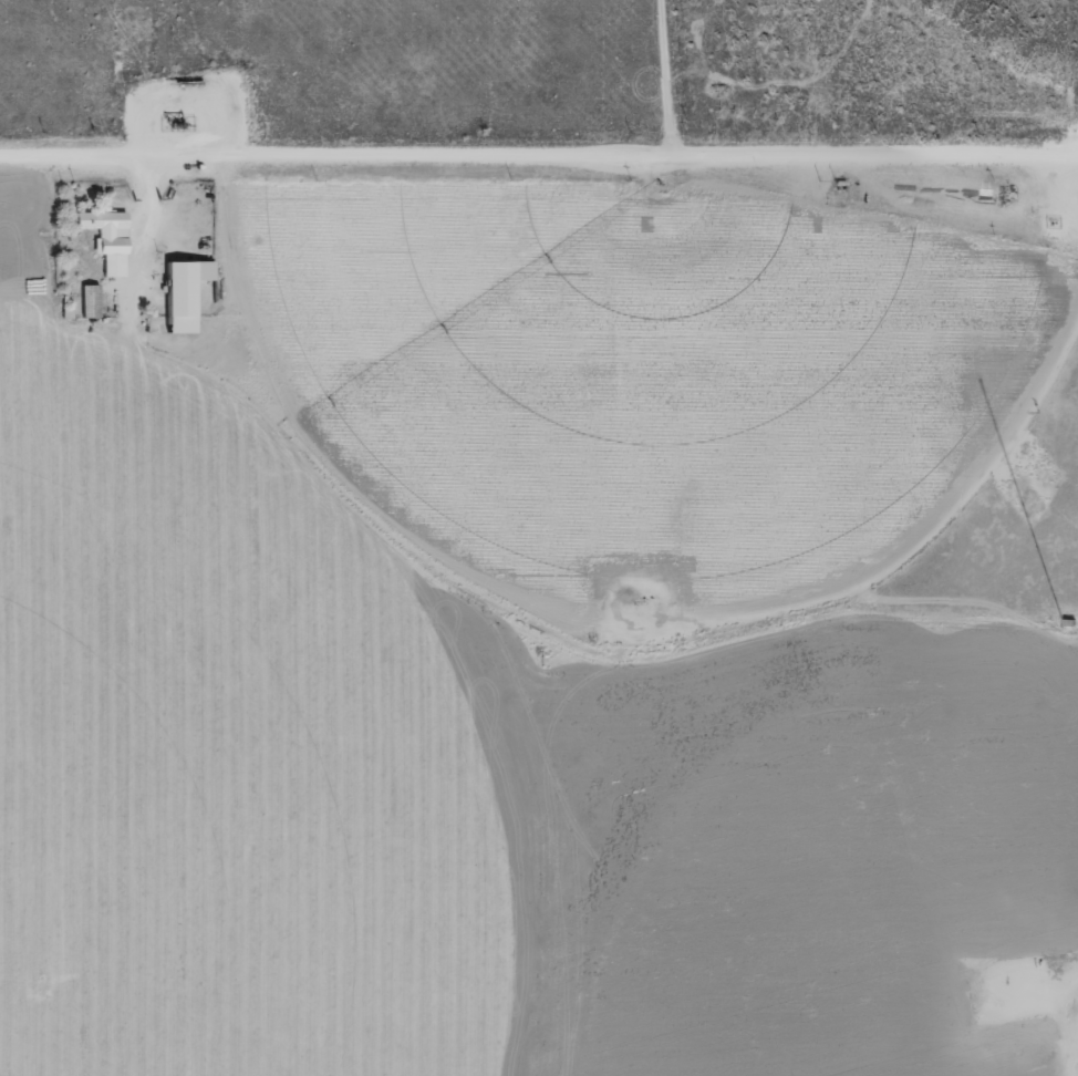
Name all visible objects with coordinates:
road: (538, 155)
building: (105, 238)
building: (182, 292)
road: (1064, 1003)

